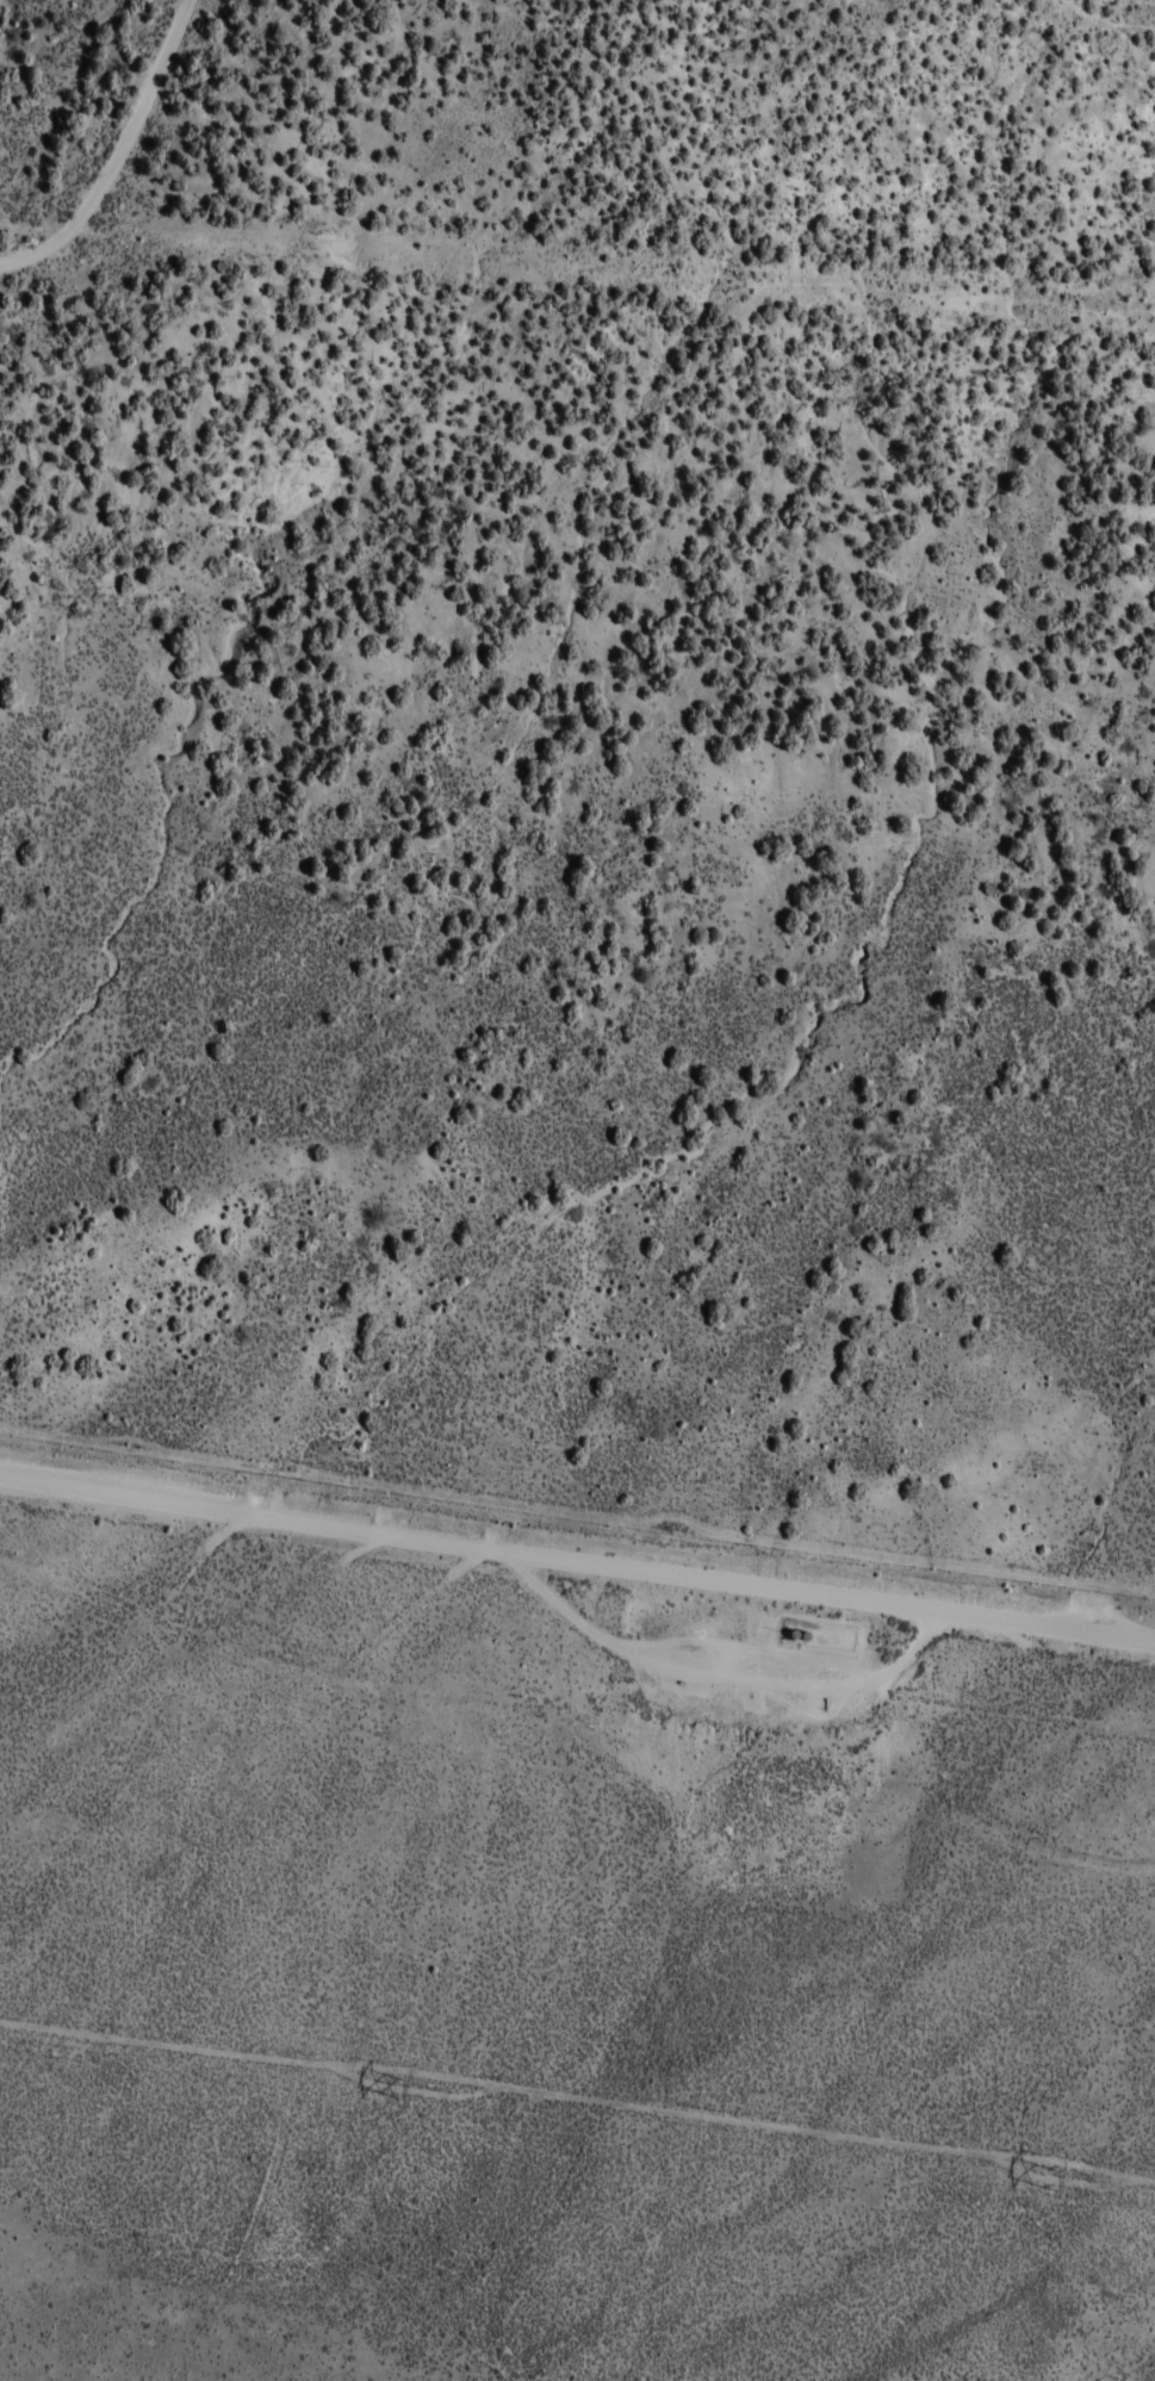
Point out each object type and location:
road: (150, 188)
road: (576, 1562)
power tower: (410, 2085)
power tower: (1056, 2178)

